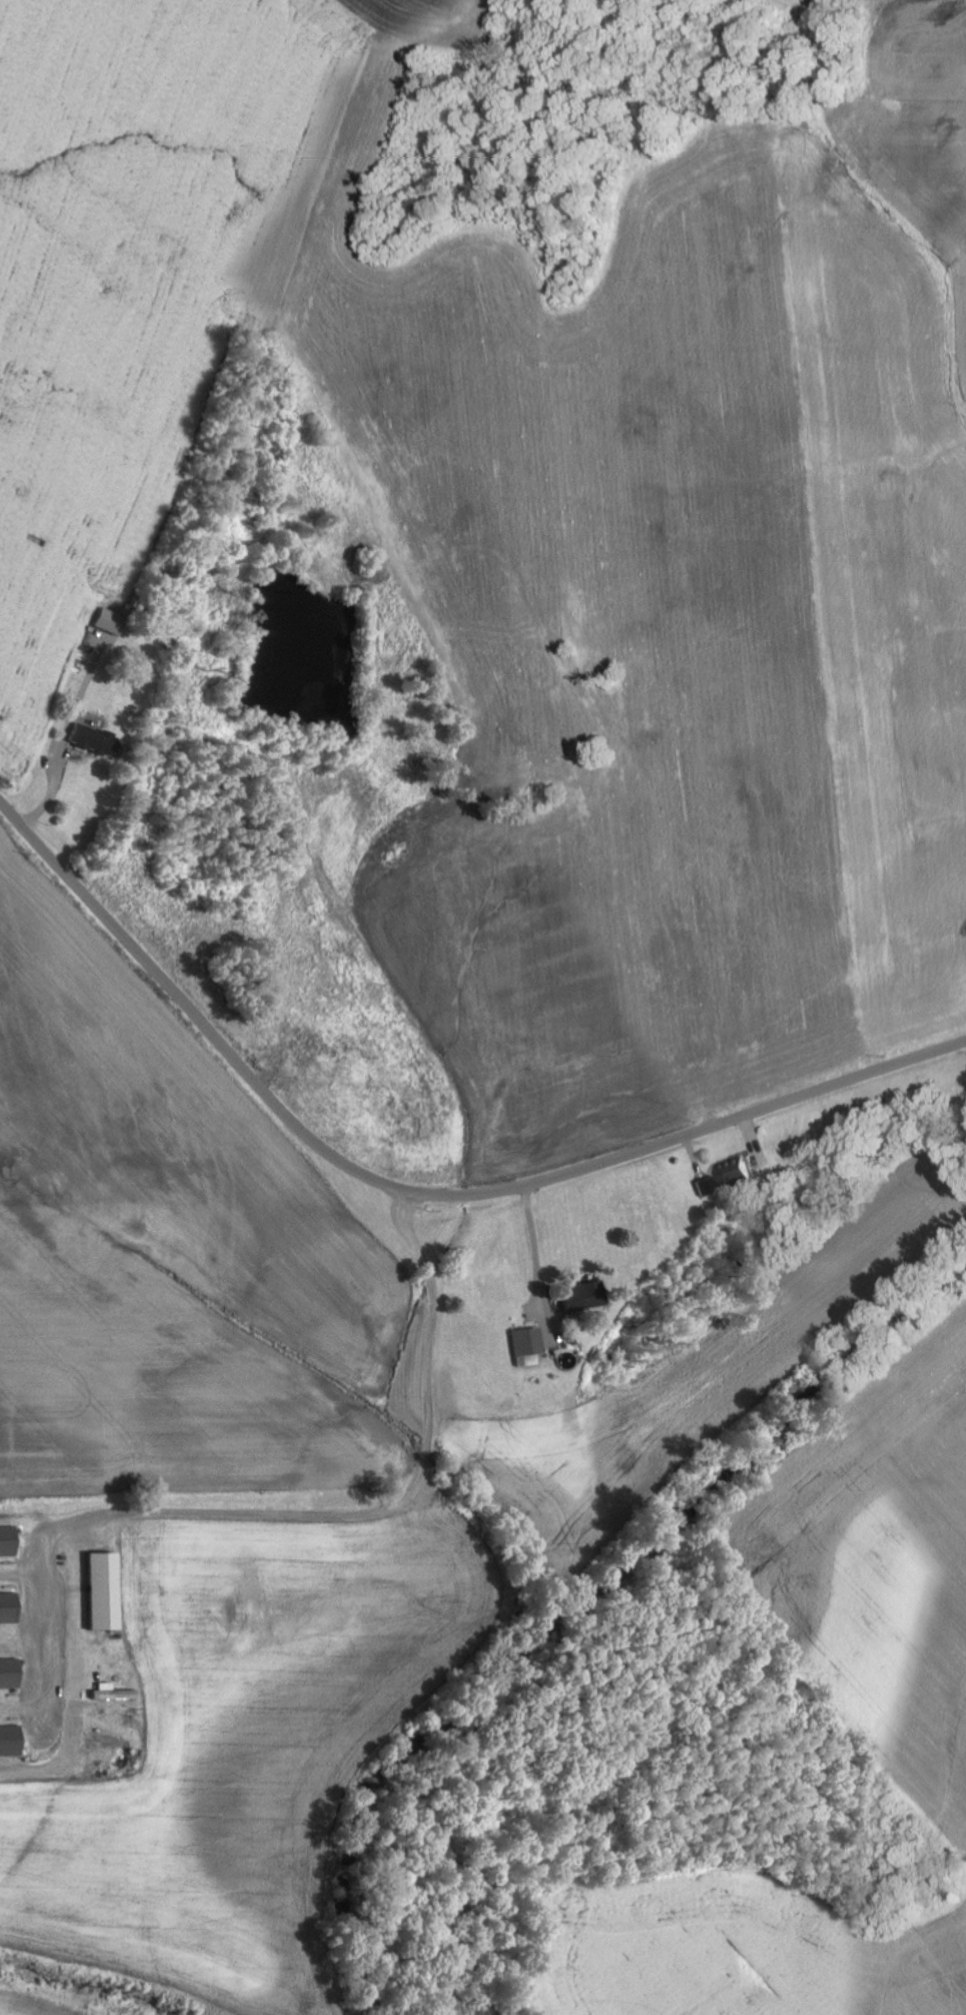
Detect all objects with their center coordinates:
building: (105, 621)
road: (855, 621)
building: (89, 741)
road: (75, 1019)
building: (725, 1181)
road: (413, 1194)
building: (580, 1292)
building: (525, 1347)
building: (11, 1542)
building: (109, 1591)
building: (11, 1609)
building: (12, 1674)
building: (116, 1693)
building: (13, 1741)

